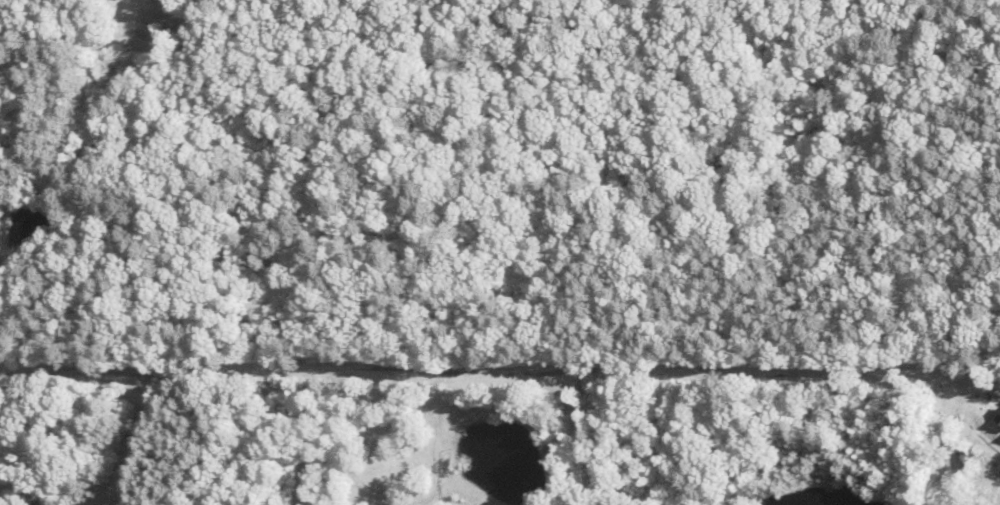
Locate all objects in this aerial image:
road: (465, 369)

